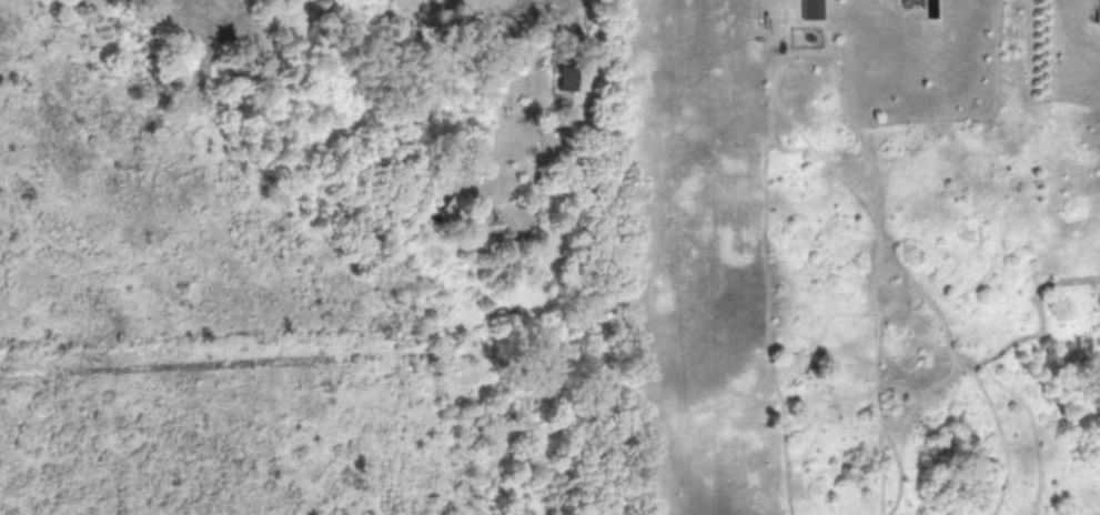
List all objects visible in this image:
building: (810, 9)
building: (1099, 14)
building: (566, 77)
building: (442, 198)

